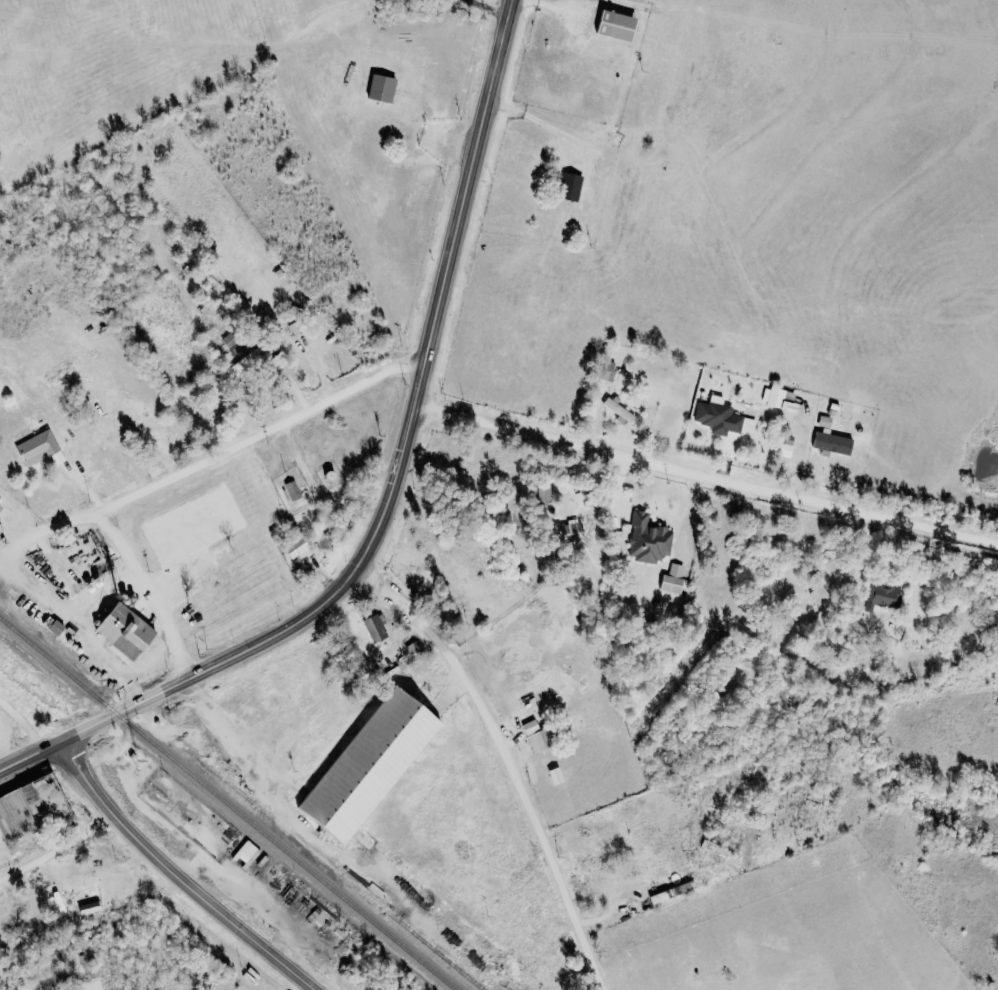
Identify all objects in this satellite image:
building: (618, 25)
building: (384, 87)
road: (469, 179)
building: (572, 186)
building: (247, 360)
building: (280, 360)
building: (609, 370)
building: (780, 397)
building: (210, 410)
building: (724, 418)
building: (833, 439)
building: (41, 448)
road: (212, 456)
road: (705, 473)
building: (294, 490)
building: (546, 493)
building: (1, 508)
building: (573, 531)
building: (650, 539)
building: (299, 549)
road: (361, 560)
building: (675, 579)
road: (148, 590)
building: (884, 596)
building: (823, 597)
road: (77, 625)
building: (377, 628)
building: (126, 630)
road: (26, 723)
road: (95, 726)
building: (538, 737)
road: (506, 760)
building: (370, 764)
building: (558, 776)
road: (270, 790)
railway: (228, 804)
building: (32, 805)
road: (59, 851)
building: (247, 851)
railway: (335, 868)
road: (177, 875)
building: (670, 892)

